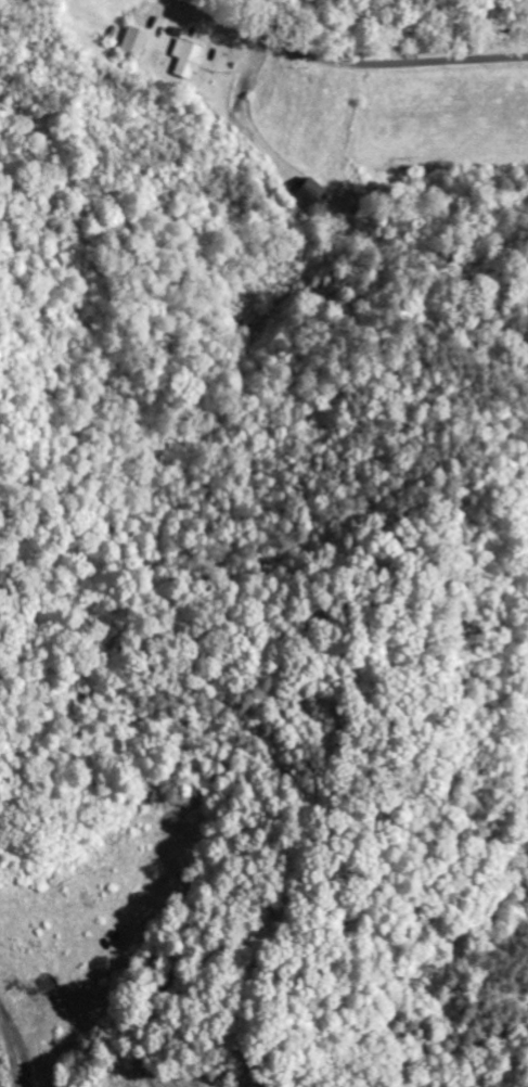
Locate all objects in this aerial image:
building: (136, 41)
building: (188, 57)
road: (405, 62)

